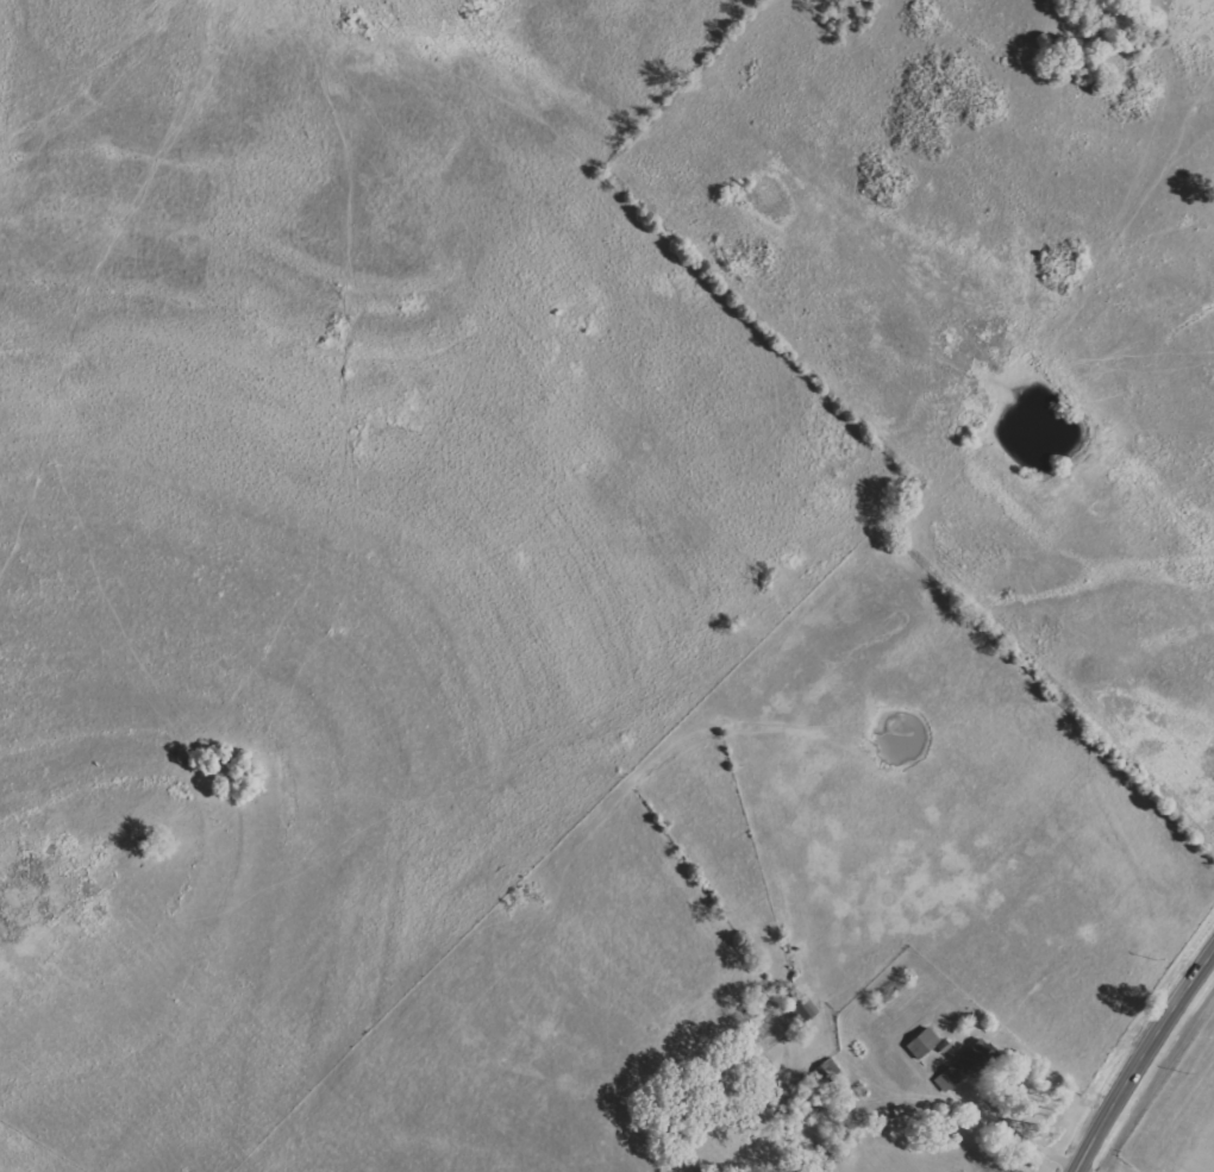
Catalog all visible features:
building: (803, 1009)
building: (924, 1043)
road: (1147, 1064)
building: (964, 1066)

